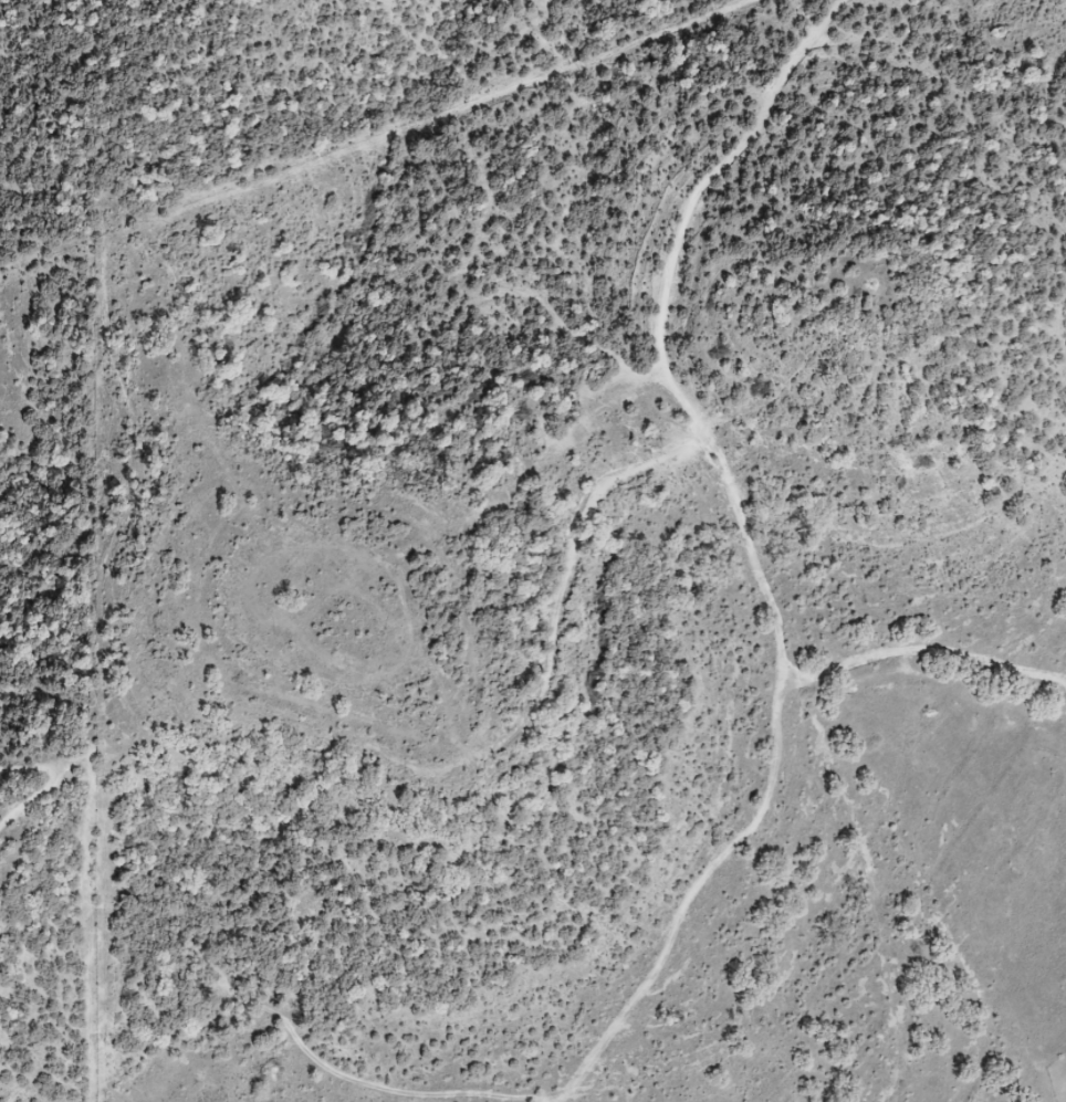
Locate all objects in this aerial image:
road: (774, 714)

